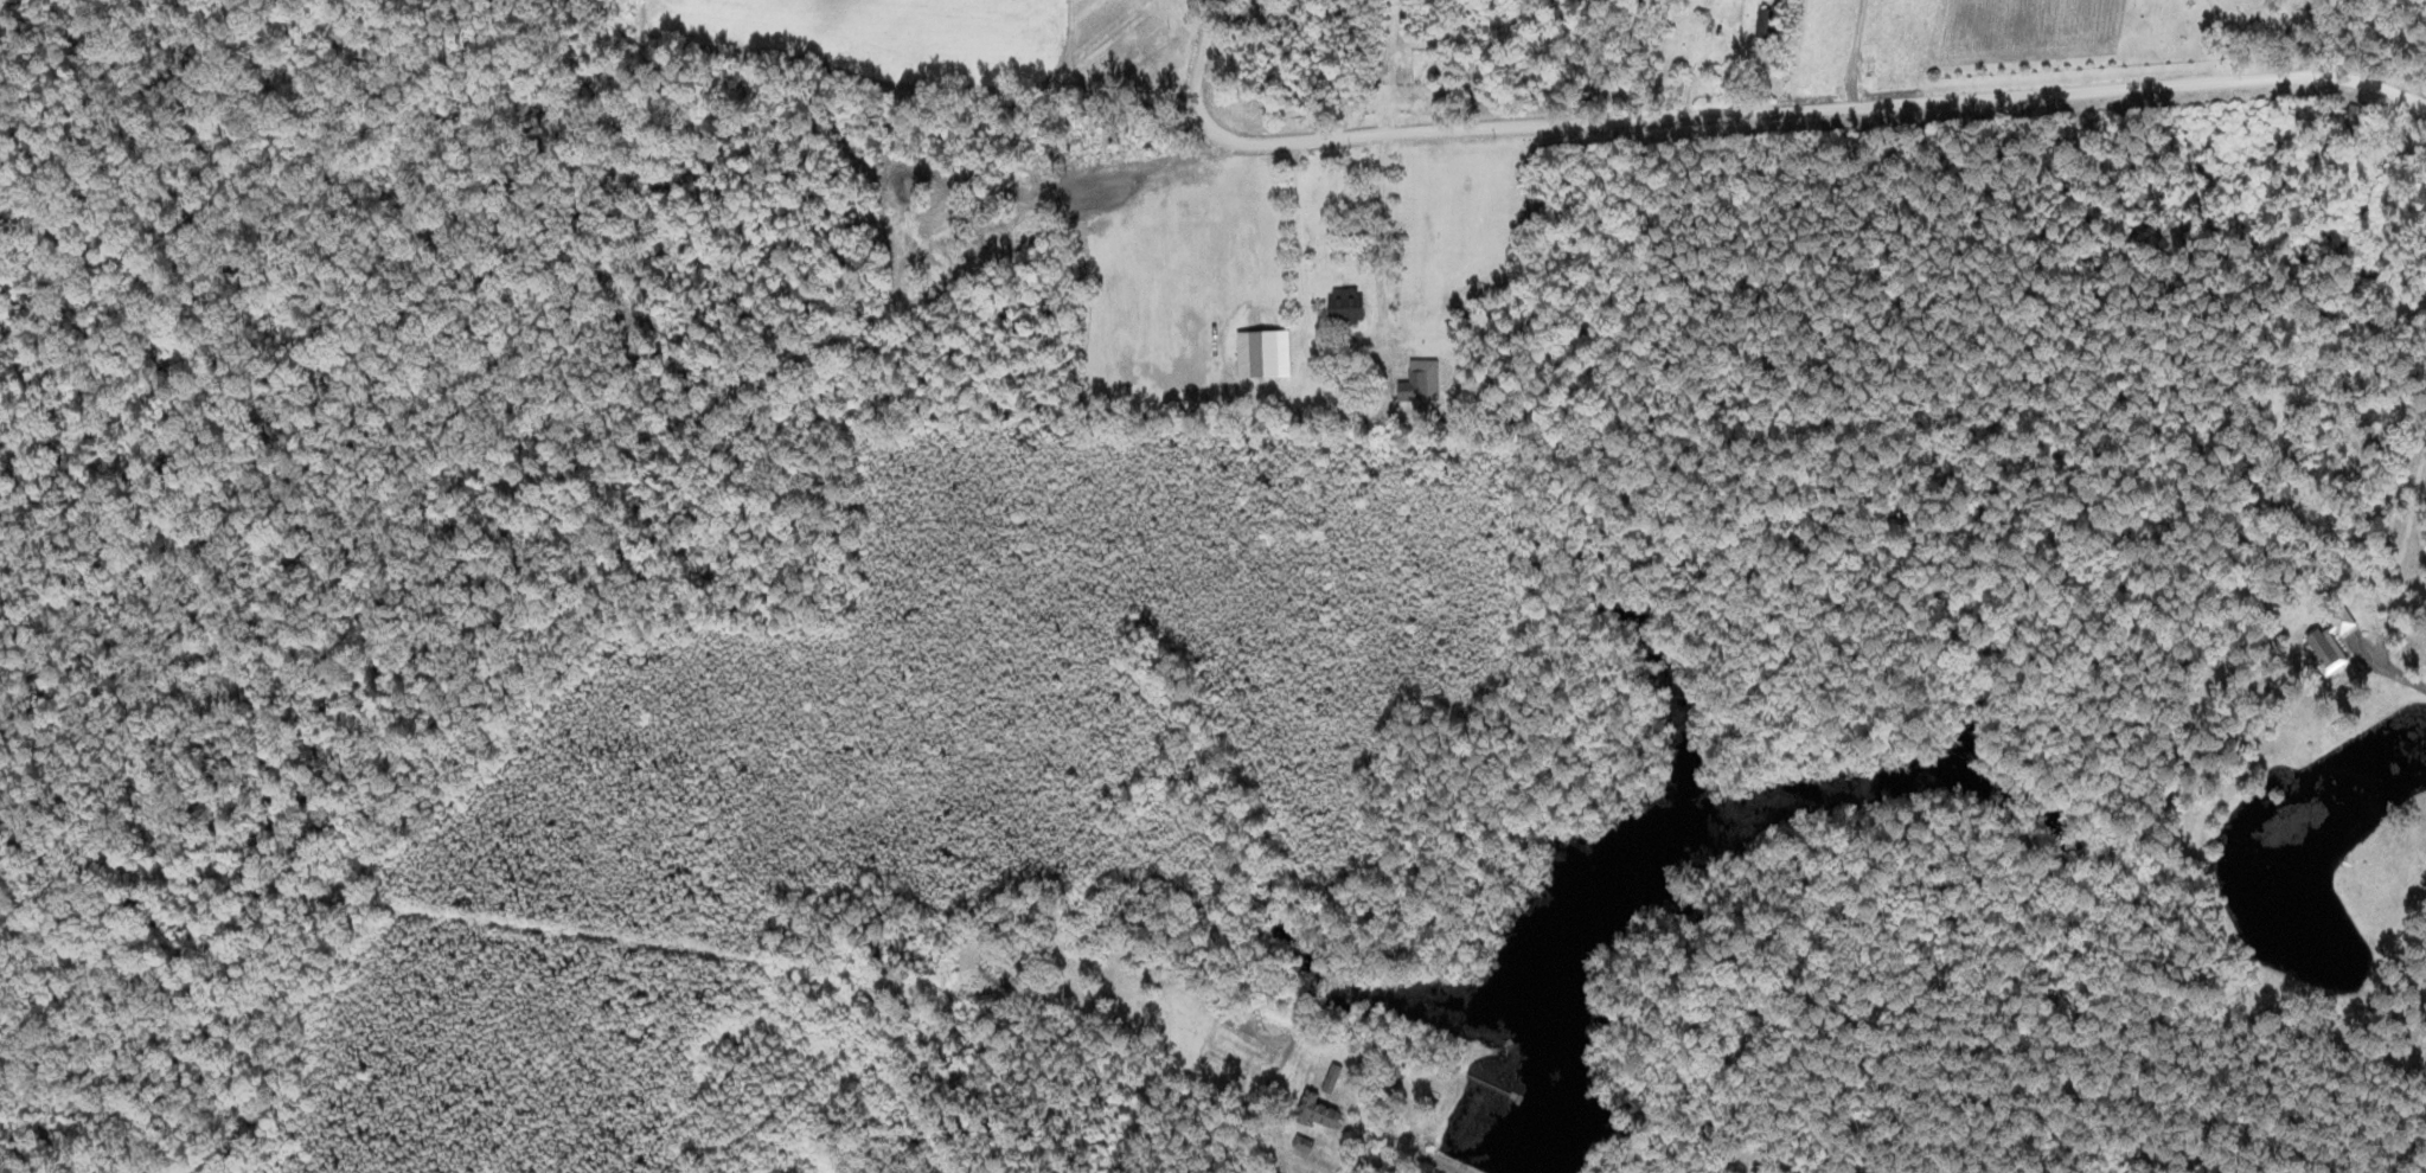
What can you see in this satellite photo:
building: (2238, 2)
building: (1767, 25)
road: (1762, 103)
building: (2356, 126)
building: (1355, 282)
building: (1420, 382)
building: (1318, 1111)

